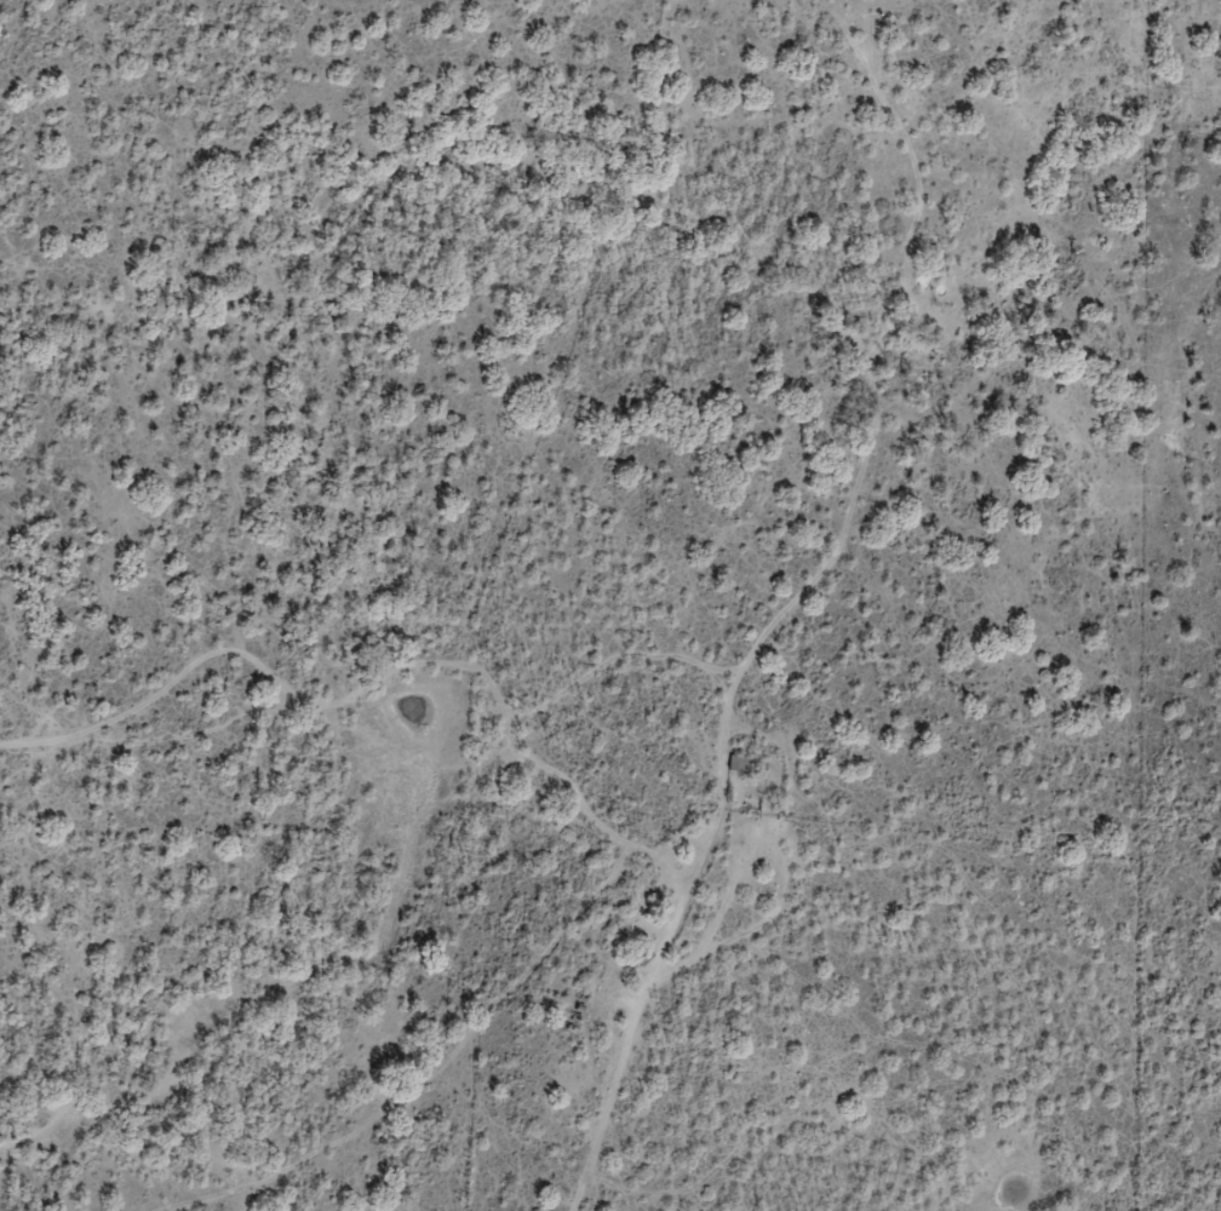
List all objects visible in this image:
building: (743, 765)
building: (642, 959)
road: (638, 1086)

